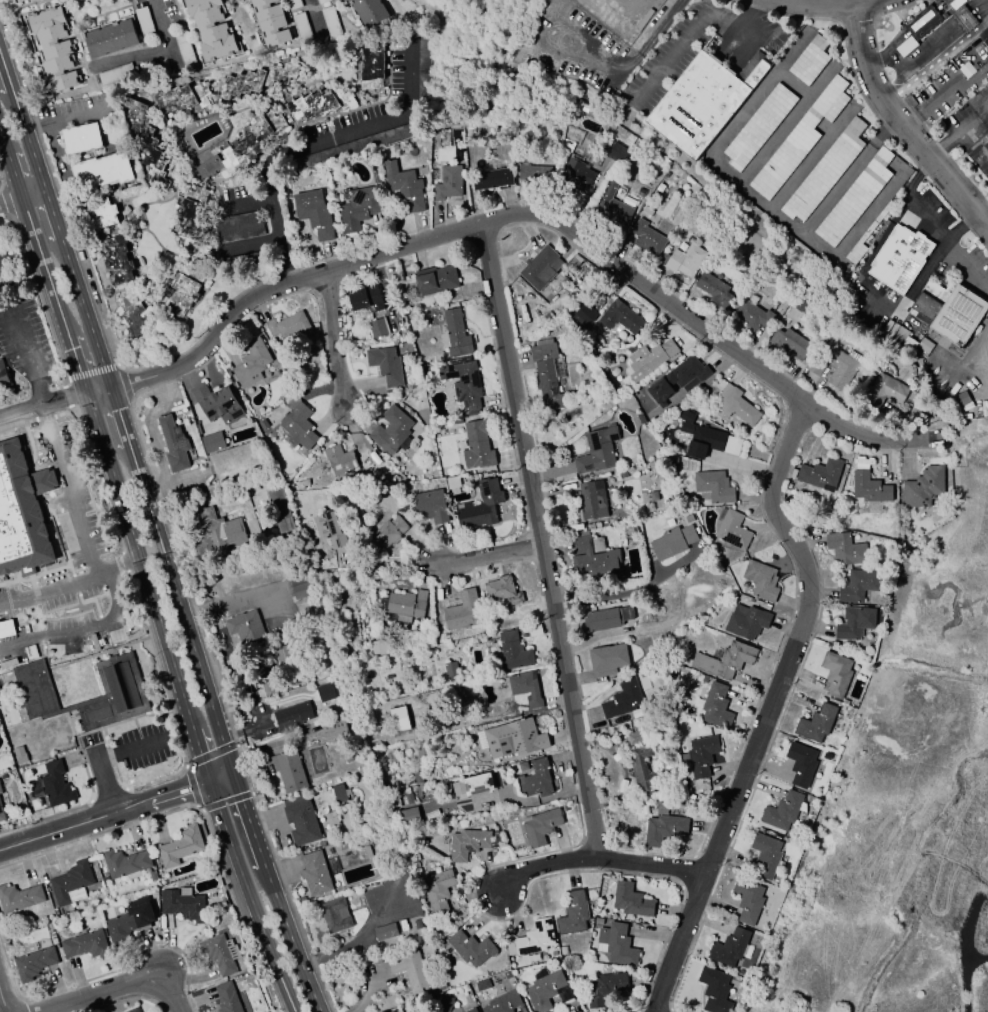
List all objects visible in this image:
building: (18, 0)
building: (21, 0)
building: (245, 0)
building: (321, 1)
road: (846, 1)
building: (293, 4)
road: (984, 6)
road: (621, 8)
road: (974, 9)
building: (367, 10)
road: (976, 12)
road: (961, 15)
road: (978, 15)
road: (735, 17)
building: (965, 20)
building: (330, 21)
road: (966, 21)
building: (144, 22)
building: (270, 22)
road: (314, 22)
building: (922, 22)
road: (970, 26)
building: (301, 27)
road: (953, 27)
building: (211, 28)
road: (955, 30)
road: (957, 32)
road: (653, 33)
road: (165, 36)
building: (984, 36)
building: (109, 38)
road: (752, 39)
road: (897, 39)
building: (906, 46)
building: (54, 48)
building: (183, 48)
road: (583, 53)
road: (127, 58)
road: (921, 59)
road: (670, 60)
building: (809, 61)
building: (371, 67)
building: (966, 69)
building: (115, 74)
building: (256, 79)
building: (424, 80)
building: (181, 97)
building: (318, 104)
building: (700, 104)
road: (901, 125)
road: (971, 125)
building: (758, 126)
building: (81, 138)
road: (978, 139)
building: (798, 140)
building: (146, 142)
building: (567, 145)
road: (317, 146)
building: (241, 148)
road: (943, 150)
building: (616, 152)
road: (809, 159)
road: (710, 160)
building: (533, 169)
building: (102, 171)
building: (825, 172)
building: (575, 176)
building: (492, 179)
building: (448, 183)
building: (404, 186)
building: (654, 195)
building: (855, 198)
road: (11, 203)
road: (248, 204)
building: (612, 206)
building: (356, 209)
building: (102, 212)
building: (314, 213)
road: (530, 216)
building: (195, 219)
road: (936, 225)
building: (238, 226)
road: (853, 231)
building: (647, 237)
building: (866, 237)
building: (117, 259)
building: (900, 260)
building: (685, 261)
building: (2, 265)
building: (540, 268)
building: (435, 280)
building: (714, 290)
building: (184, 293)
building: (366, 298)
road: (883, 309)
building: (750, 314)
building: (953, 314)
building: (132, 315)
building: (583, 315)
building: (621, 317)
building: (289, 326)
building: (377, 328)
building: (454, 333)
road: (332, 341)
building: (789, 343)
road: (27, 352)
building: (648, 359)
building: (250, 363)
building: (275, 364)
building: (385, 365)
building: (835, 367)
building: (547, 373)
building: (3, 375)
building: (679, 379)
building: (463, 384)
building: (886, 391)
building: (960, 399)
building: (216, 403)
building: (607, 404)
building: (735, 405)
road: (40, 413)
road: (119, 416)
building: (688, 417)
building: (640, 419)
road: (46, 423)
building: (298, 427)
building: (391, 431)
building: (701, 439)
building: (212, 442)
building: (173, 444)
building: (477, 446)
building: (597, 451)
road: (107, 452)
building: (340, 461)
building: (818, 474)
building: (713, 486)
building: (923, 487)
building: (869, 488)
building: (592, 500)
road: (68, 504)
building: (430, 506)
building: (480, 506)
building: (279, 510)
building: (603, 522)
building: (330, 529)
building: (731, 529)
building: (215, 532)
building: (387, 533)
road: (542, 542)
building: (672, 542)
building: (844, 549)
road: (488, 555)
building: (594, 558)
road: (124, 571)
building: (761, 580)
building: (858, 584)
building: (301, 586)
building: (502, 590)
road: (54, 591)
road: (628, 593)
road: (236, 603)
road: (109, 604)
building: (403, 605)
building: (462, 612)
building: (606, 619)
building: (747, 621)
building: (855, 622)
building: (245, 627)
road: (54, 635)
building: (378, 646)
building: (510, 653)
building: (282, 654)
building: (607, 659)
building: (725, 660)
building: (450, 669)
building: (836, 674)
building: (120, 681)
building: (525, 687)
building: (324, 692)
building: (621, 699)
road: (769, 705)
building: (716, 706)
building: (292, 716)
building: (398, 719)
building: (816, 723)
building: (335, 729)
building: (513, 739)
road: (268, 749)
road: (131, 751)
building: (20, 755)
building: (699, 756)
building: (801, 763)
building: (288, 770)
building: (640, 770)
traffic signals: (231, 774)
building: (416, 776)
road: (219, 777)
building: (536, 779)
road: (105, 781)
traffic signals: (208, 781)
building: (478, 784)
building: (53, 785)
building: (456, 788)
building: (0, 791)
building: (338, 793)
building: (408, 798)
building: (782, 811)
building: (1, 812)
road: (103, 815)
building: (409, 816)
building: (330, 819)
building: (300, 820)
building: (540, 825)
building: (663, 825)
building: (466, 843)
building: (180, 846)
building: (764, 856)
road: (595, 859)
building: (126, 864)
building: (314, 873)
building: (152, 876)
building: (71, 883)
building: (438, 890)
road: (273, 893)
building: (20, 896)
road: (250, 897)
building: (631, 900)
building: (748, 900)
building: (183, 904)
building: (575, 912)
building: (334, 914)
building: (127, 923)
building: (385, 932)
building: (536, 937)
building: (86, 943)
road: (354, 945)
building: (617, 945)
building: (470, 948)
building: (730, 948)
building: (217, 954)
building: (35, 961)
building: (409, 969)
road: (120, 986)
building: (605, 987)
building: (545, 990)
building: (714, 990)
building: (226, 998)
road: (3, 1000)
building: (504, 1002)
building: (445, 1004)
building: (133, 1010)
building: (473, 1010)

